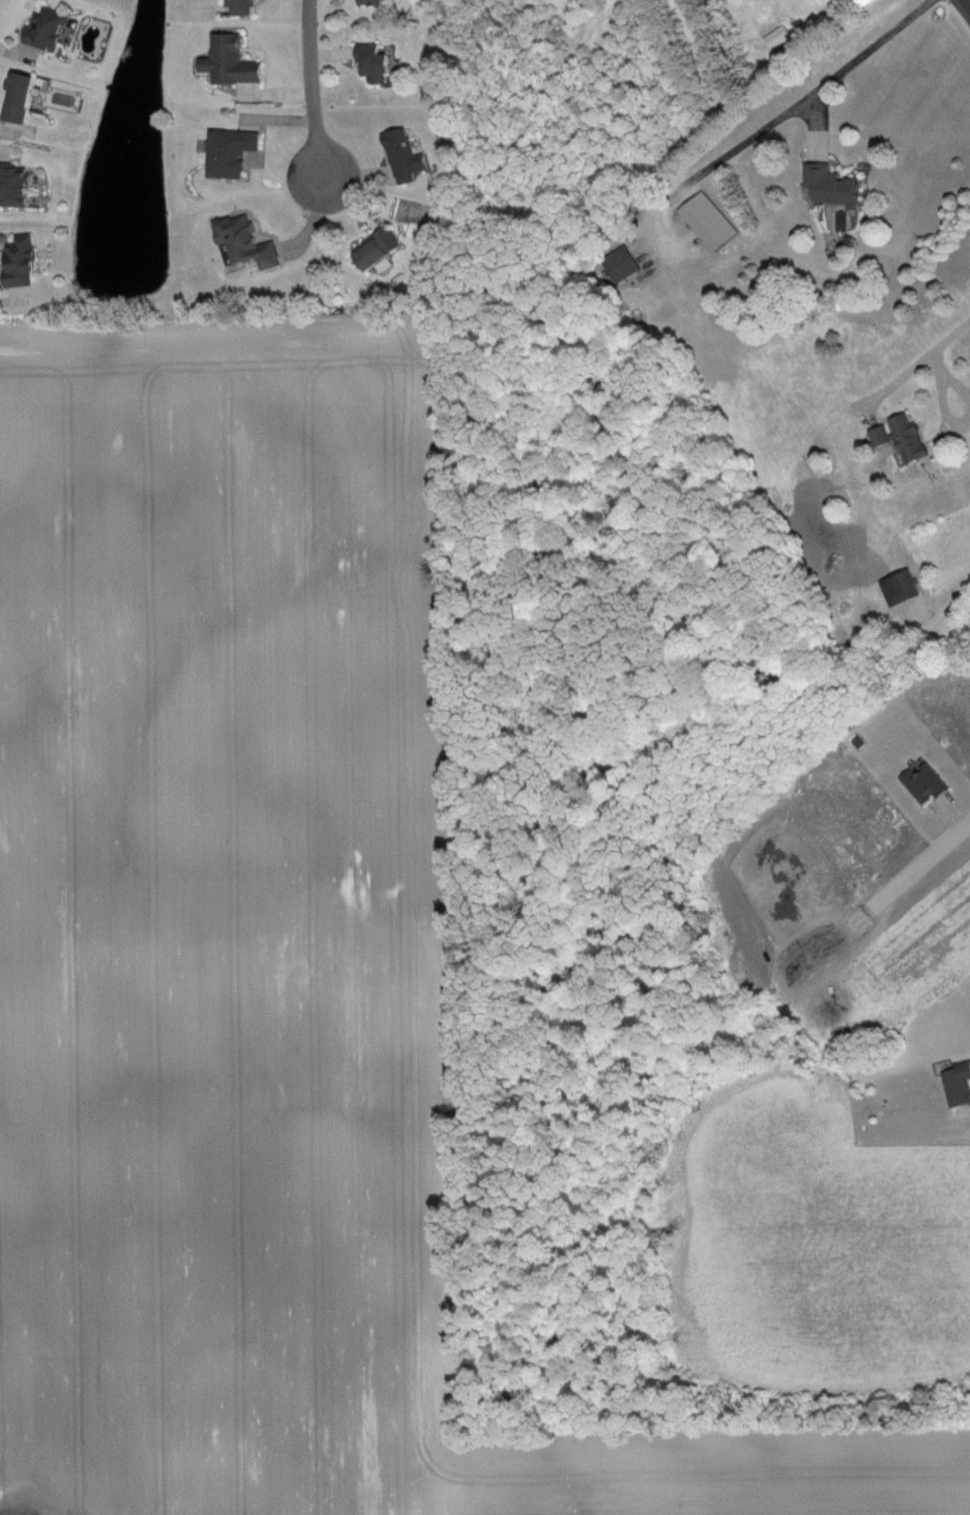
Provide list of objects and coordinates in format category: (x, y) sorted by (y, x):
building: (865, 2)
road: (968, 2)
building: (246, 7)
building: (50, 28)
building: (779, 37)
building: (232, 61)
building: (374, 62)
road: (310, 93)
building: (22, 97)
road: (792, 110)
building: (232, 152)
building: (405, 157)
building: (17, 184)
building: (832, 186)
building: (709, 222)
building: (246, 243)
building: (377, 249)
building: (24, 261)
building: (623, 264)
road: (921, 358)
building: (903, 438)
building: (902, 588)
road: (920, 860)
crop: (267, 958)
building: (958, 1085)

